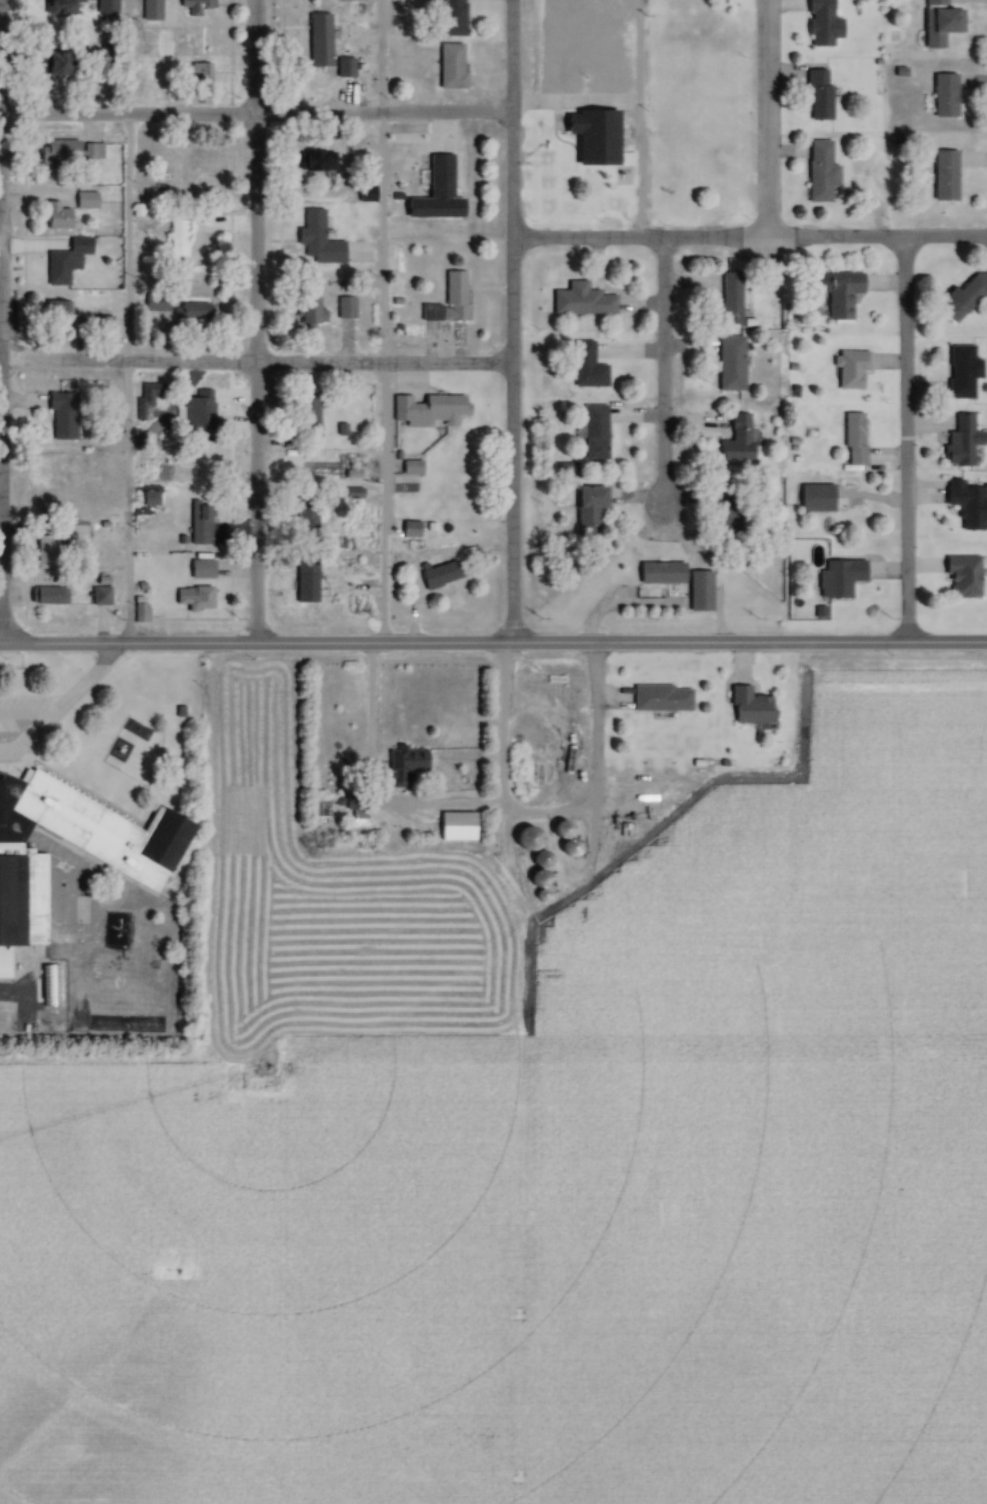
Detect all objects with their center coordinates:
building: (104, 7)
building: (60, 8)
building: (195, 8)
building: (149, 11)
building: (443, 19)
building: (937, 23)
building: (820, 24)
building: (52, 66)
building: (448, 68)
building: (198, 74)
building: (321, 78)
building: (816, 96)
building: (942, 97)
road: (573, 103)
road: (254, 116)
road: (637, 119)
road: (767, 119)
building: (590, 137)
building: (56, 153)
building: (92, 153)
building: (314, 162)
building: (818, 173)
building: (942, 177)
building: (434, 193)
building: (84, 202)
building: (54, 218)
road: (748, 238)
building: (178, 240)
building: (314, 243)
building: (64, 262)
building: (835, 293)
building: (728, 300)
building: (447, 302)
building: (579, 302)
building: (344, 310)
building: (58, 311)
building: (311, 312)
building: (190, 317)
road: (252, 322)
road: (380, 322)
road: (509, 322)
road: (124, 323)
road: (254, 364)
building: (728, 366)
building: (585, 369)
road: (662, 370)
building: (848, 372)
building: (960, 374)
building: (404, 405)
building: (441, 410)
building: (197, 412)
building: (61, 417)
building: (308, 418)
building: (592, 435)
building: (852, 436)
road: (904, 441)
building: (734, 442)
building: (959, 443)
building: (409, 469)
road: (0, 505)
building: (965, 506)
building: (305, 519)
building: (198, 522)
building: (43, 554)
building: (199, 570)
building: (658, 574)
building: (436, 576)
building: (961, 578)
building: (837, 580)
building: (303, 582)
building: (698, 593)
building: (47, 597)
building: (98, 597)
building: (193, 599)
road: (254, 645)
road: (748, 645)
building: (659, 699)
road: (61, 706)
building: (746, 707)
building: (407, 760)
road: (436, 803)
building: (356, 814)
building: (454, 827)
building: (524, 839)
building: (535, 870)
building: (141, 871)

